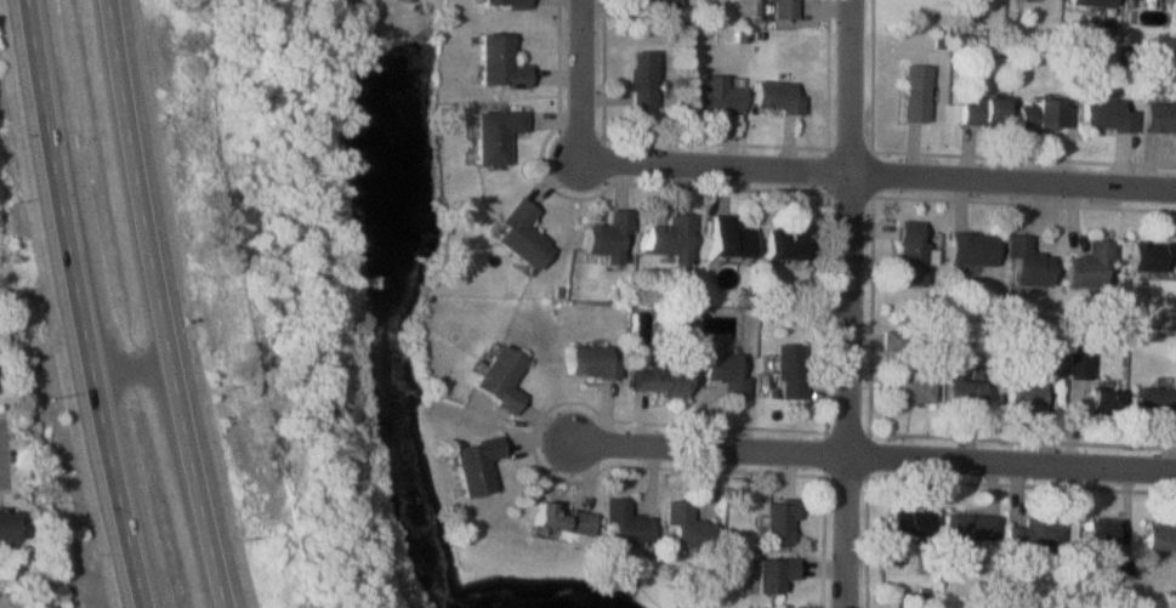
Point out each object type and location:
building: (1091, 1)
building: (500, 4)
building: (661, 4)
building: (779, 8)
building: (495, 62)
building: (638, 79)
road: (580, 80)
building: (911, 92)
building: (710, 95)
building: (773, 96)
building: (981, 110)
building: (1040, 114)
building: (1103, 114)
building: (1158, 115)
building: (492, 135)
road: (716, 164)
road: (1015, 181)
building: (517, 234)
building: (604, 237)
building: (667, 238)
building: (726, 238)
building: (784, 240)
building: (968, 250)
building: (908, 255)
building: (1153, 255)
building: (1026, 263)
building: (1087, 266)
road: (852, 303)
road: (83, 305)
road: (160, 305)
building: (891, 341)
building: (590, 363)
building: (1051, 363)
road: (135, 364)
building: (788, 371)
building: (723, 375)
building: (498, 379)
building: (655, 380)
building: (910, 388)
building: (960, 394)
building: (1022, 397)
building: (1100, 402)
building: (1154, 402)
road: (862, 454)
building: (473, 465)
building: (559, 519)
building: (623, 523)
building: (778, 523)
building: (907, 523)
building: (7, 527)
building: (686, 527)
building: (967, 527)
building: (1097, 533)
building: (1034, 534)
building: (1160, 536)
building: (768, 575)

